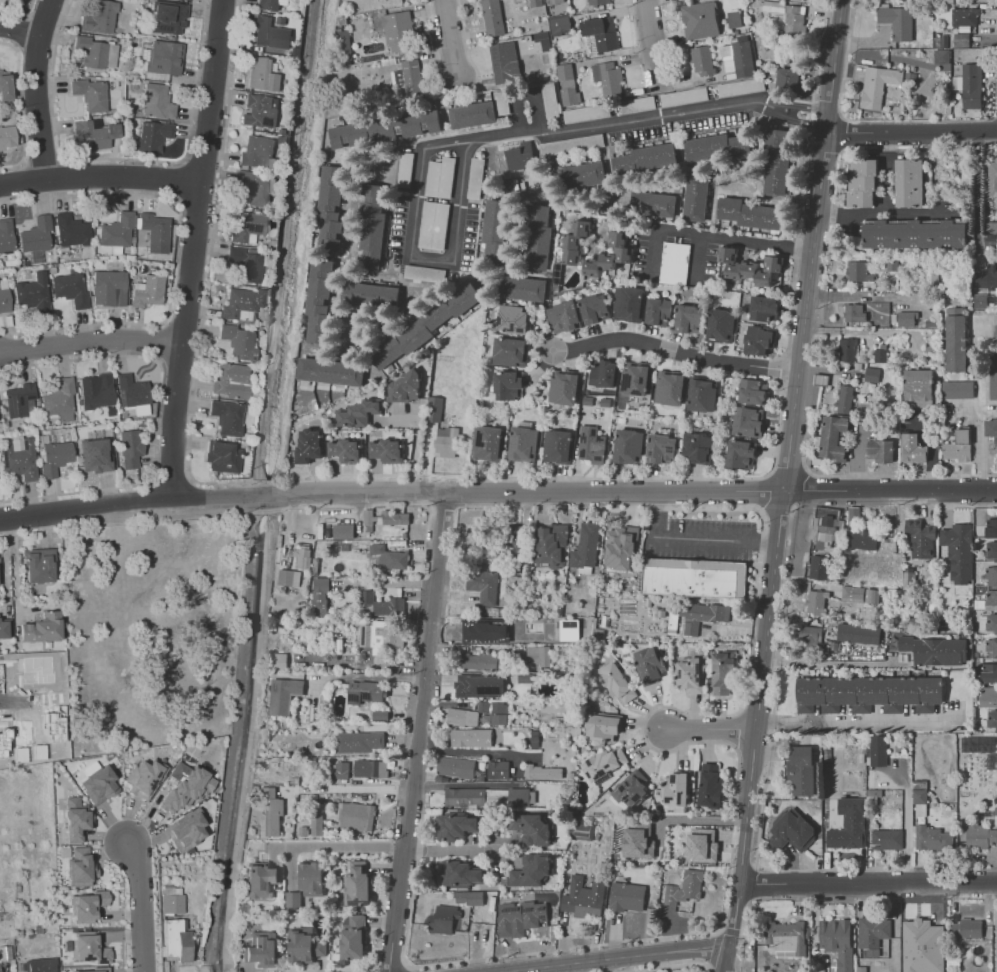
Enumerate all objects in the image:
building: (186, 0)
building: (553, 2)
building: (598, 3)
building: (269, 5)
building: (169, 16)
building: (964, 16)
building: (100, 17)
building: (790, 17)
building: (493, 18)
building: (700, 21)
building: (897, 21)
building: (560, 25)
road: (21, 32)
building: (399, 32)
building: (269, 33)
building: (602, 33)
road: (449, 36)
building: (961, 39)
building: (544, 40)
building: (344, 41)
road: (654, 43)
building: (591, 45)
building: (92, 52)
building: (941, 55)
building: (165, 58)
building: (701, 60)
building: (743, 60)
building: (505, 64)
building: (565, 73)
building: (265, 75)
building: (411, 79)
building: (608, 80)
building: (788, 80)
building: (877, 85)
building: (740, 86)
building: (971, 86)
parking lot: (742, 87)
road: (36, 88)
building: (4, 91)
building: (91, 94)
parking lot: (685, 96)
building: (569, 97)
building: (550, 100)
parking lot: (551, 101)
building: (158, 102)
parking lot: (503, 102)
parking lot: (638, 105)
road: (807, 106)
building: (261, 110)
building: (586, 113)
parking lot: (587, 113)
building: (474, 115)
road: (806, 117)
parking lot: (680, 127)
building: (384, 128)
road: (911, 132)
building: (93, 135)
building: (153, 136)
building: (7, 137)
road: (467, 138)
building: (571, 144)
parking lot: (573, 145)
building: (718, 147)
building: (258, 152)
building: (647, 158)
building: (516, 160)
building: (777, 162)
building: (583, 175)
road: (99, 176)
building: (992, 176)
building: (440, 177)
building: (909, 182)
building: (861, 183)
building: (255, 188)
road: (979, 191)
building: (697, 198)
building: (653, 205)
building: (332, 208)
road: (883, 209)
parking lot: (436, 210)
building: (751, 213)
building: (433, 225)
building: (247, 227)
building: (371, 227)
building: (583, 228)
building: (117, 230)
building: (72, 231)
road: (659, 231)
building: (156, 232)
building: (498, 233)
building: (913, 233)
building: (6, 235)
building: (37, 235)
building: (537, 237)
building: (618, 239)
road: (733, 240)
building: (572, 242)
road: (191, 250)
building: (623, 254)
parking lot: (677, 254)
building: (729, 254)
building: (572, 257)
building: (608, 260)
building: (674, 263)
building: (246, 264)
building: (773, 264)
building: (592, 267)
building: (857, 271)
building: (750, 274)
building: (987, 277)
building: (109, 288)
building: (71, 290)
building: (523, 290)
building: (149, 291)
building: (34, 292)
road: (836, 295)
building: (372, 296)
road: (889, 296)
building: (4, 301)
building: (319, 301)
building: (982, 301)
building: (242, 303)
building: (629, 303)
building: (595, 309)
building: (764, 310)
building: (660, 311)
building: (854, 312)
building: (565, 316)
building: (906, 318)
building: (514, 319)
building: (690, 319)
building: (425, 327)
building: (722, 327)
building: (760, 339)
building: (955, 339)
road: (89, 342)
building: (239, 342)
building: (846, 349)
road: (673, 351)
building: (511, 352)
building: (332, 372)
building: (871, 374)
building: (603, 375)
building: (637, 379)
building: (993, 382)
building: (231, 383)
building: (509, 385)
building: (405, 387)
building: (670, 387)
building: (566, 388)
building: (918, 388)
building: (957, 389)
building: (133, 390)
building: (96, 391)
building: (752, 392)
building: (702, 395)
building: (844, 398)
building: (19, 400)
building: (60, 401)
building: (435, 409)
building: (358, 413)
building: (228, 417)
building: (749, 421)
building: (598, 425)
building: (991, 429)
building: (833, 438)
road: (980, 441)
building: (449, 442)
building: (488, 443)
road: (414, 444)
building: (524, 444)
building: (558, 446)
building: (629, 446)
building: (958, 446)
building: (310, 447)
building: (130, 448)
building: (698, 448)
building: (663, 449)
building: (912, 449)
building: (388, 450)
building: (880, 450)
building: (347, 451)
building: (591, 452)
building: (97, 454)
building: (742, 454)
building: (223, 456)
building: (55, 458)
building: (20, 460)
road: (805, 471)
road: (783, 486)
road: (890, 490)
road: (390, 491)
building: (371, 517)
building: (395, 518)
building: (830, 523)
building: (991, 529)
building: (344, 531)
road: (696, 536)
building: (512, 537)
building: (919, 539)
building: (862, 540)
building: (550, 545)
building: (585, 548)
building: (620, 548)
building: (991, 550)
building: (390, 557)
building: (303, 559)
building: (39, 565)
building: (818, 567)
building: (694, 576)
building: (991, 576)
building: (288, 577)
building: (483, 586)
building: (859, 594)
building: (321, 596)
building: (367, 597)
building: (815, 602)
building: (390, 607)
building: (701, 615)
building: (991, 624)
building: (5, 628)
building: (42, 628)
building: (474, 629)
building: (858, 633)
building: (527, 635)
building: (808, 639)
building: (383, 640)
building: (991, 649)
building: (935, 650)
building: (537, 656)
building: (479, 661)
building: (278, 662)
building: (649, 663)
road: (832, 663)
building: (38, 669)
building: (987, 673)
building: (689, 674)
building: (722, 674)
road: (365, 678)
building: (615, 682)
building: (479, 686)
building: (366, 692)
building: (868, 693)
building: (285, 695)
building: (988, 697)
road: (14, 699)
building: (494, 711)
building: (381, 716)
building: (462, 716)
building: (991, 720)
road: (861, 721)
building: (52, 724)
building: (603, 726)
road: (738, 729)
road: (419, 732)
road: (713, 732)
building: (470, 737)
building: (5, 740)
road: (696, 741)
building: (362, 742)
building: (877, 750)
road: (472, 752)
building: (603, 763)
building: (455, 767)
building: (371, 768)
building: (498, 769)
building: (340, 770)
building: (800, 770)
building: (543, 772)
building: (145, 777)
building: (98, 782)
building: (710, 785)
building: (631, 788)
building: (186, 789)
road: (348, 789)
building: (674, 789)
building: (919, 791)
building: (465, 796)
building: (521, 796)
road: (761, 806)
building: (268, 811)
building: (75, 818)
building: (357, 819)
road: (707, 820)
building: (848, 824)
building: (317, 825)
building: (454, 825)
building: (189, 829)
building: (531, 829)
building: (791, 831)
building: (979, 836)
building: (932, 838)
building: (886, 839)
building: (635, 841)
building: (701, 845)
road: (386, 849)
building: (79, 866)
building: (531, 870)
building: (460, 873)
building: (312, 879)
building: (261, 881)
road: (753, 883)
building: (358, 885)
road: (867, 885)
building: (686, 887)
building: (583, 897)
building: (626, 897)
building: (469, 898)
building: (294, 900)
building: (172, 904)
building: (87, 905)
road: (142, 905)
building: (520, 917)
building: (444, 919)
building: (967, 928)
building: (872, 931)
building: (927, 931)
building: (353, 936)
road: (718, 937)
building: (786, 938)
building: (177, 940)
building: (837, 941)
building: (305, 946)
building: (262, 949)
building: (90, 951)
road: (624, 958)
road: (403, 961)
building: (41, 965)
road: (667, 966)
building: (89, 970)
road: (359, 970)
road: (391, 970)

